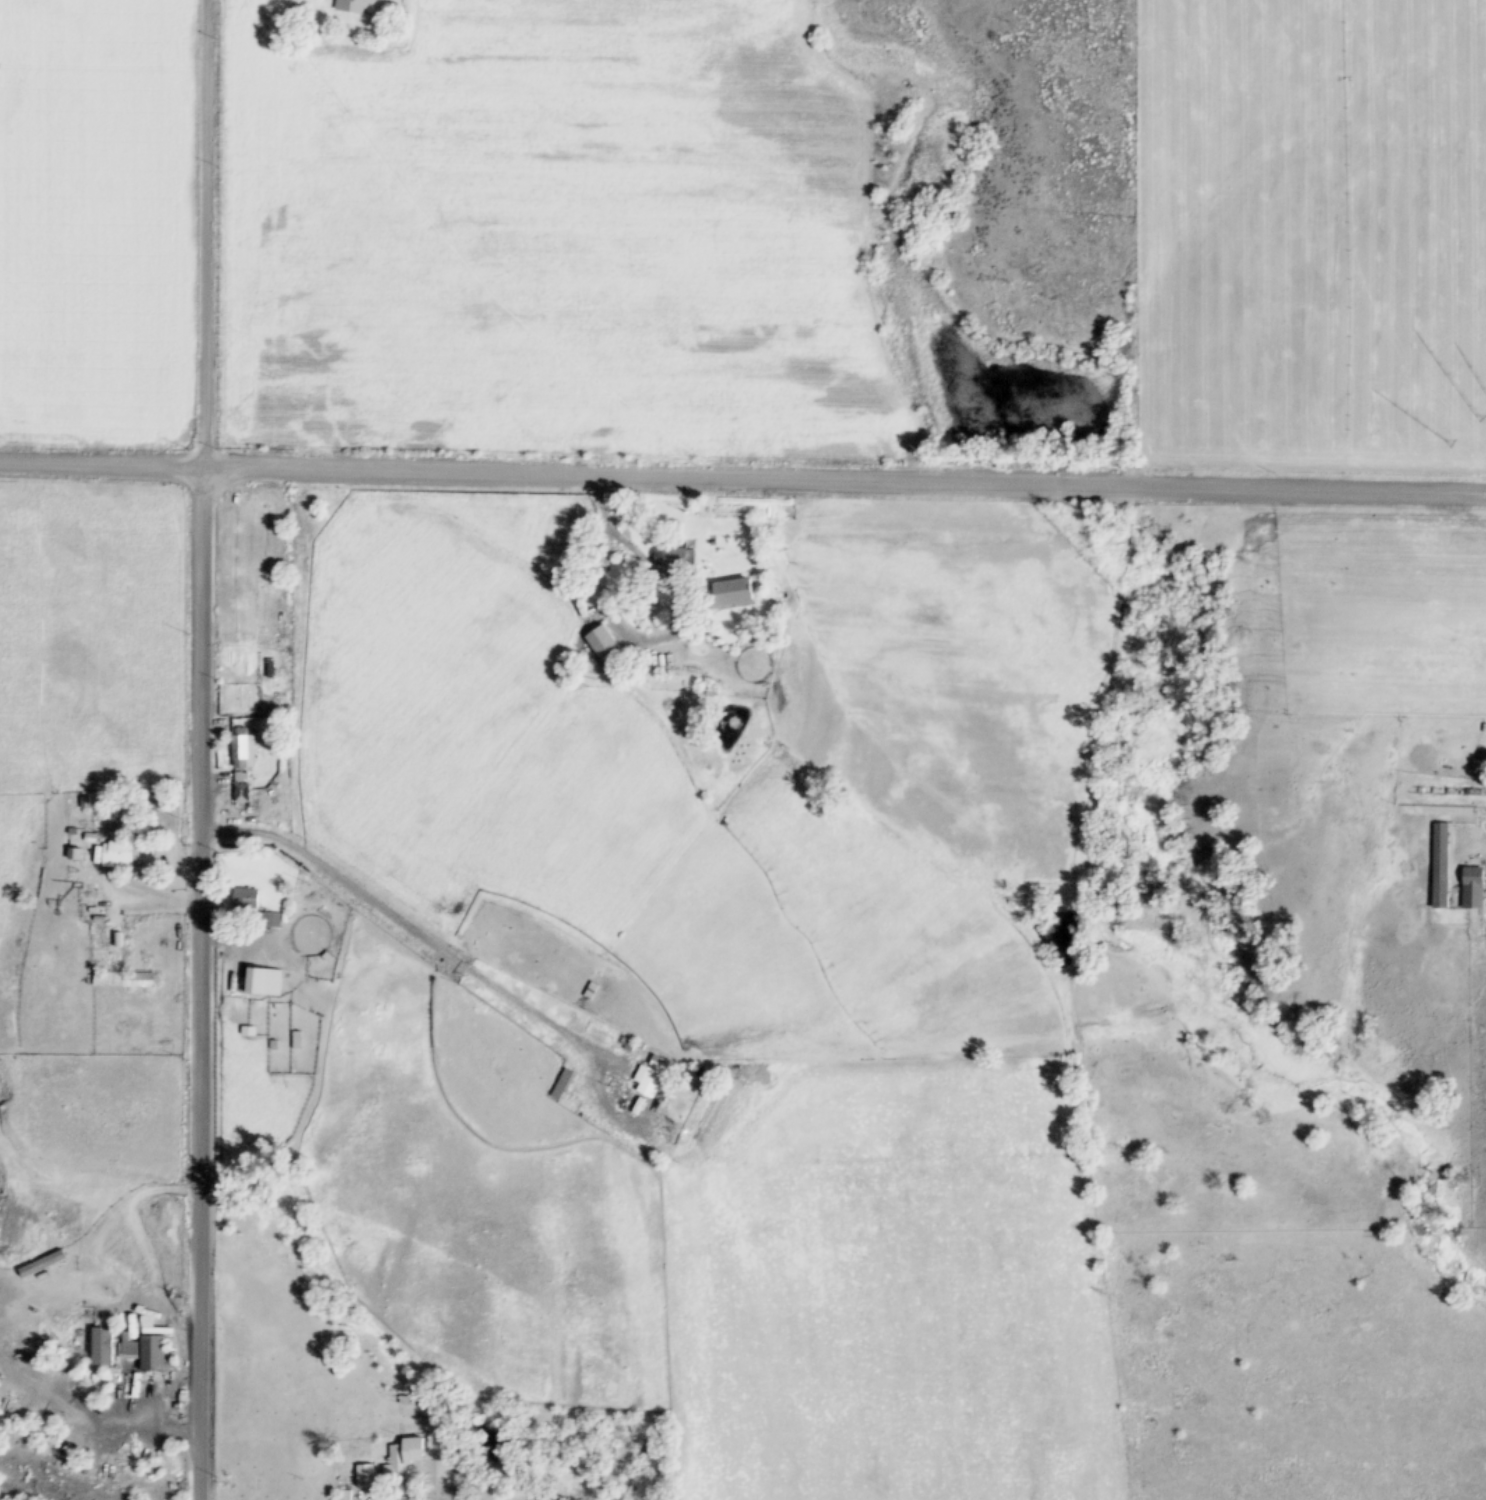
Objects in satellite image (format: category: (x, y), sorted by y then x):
building: (354, 6)
road: (743, 478)
building: (677, 556)
building: (734, 591)
building: (601, 642)
building: (256, 746)
road: (200, 750)
building: (239, 752)
building: (240, 792)
building: (158, 802)
building: (72, 831)
building: (91, 837)
road: (1480, 841)
building: (74, 854)
building: (119, 854)
building: (1439, 865)
building: (1471, 887)
road: (180, 904)
building: (252, 908)
road: (305, 910)
building: (98, 918)
road: (279, 953)
building: (326, 957)
road: (466, 968)
building: (123, 979)
building: (263, 980)
building: (591, 991)
building: (295, 1039)
building: (272, 1045)
building: (628, 1045)
building: (640, 1045)
building: (651, 1078)
road: (313, 1083)
building: (562, 1084)
road: (136, 1237)
road: (1174, 1240)
building: (102, 1345)
building: (127, 1345)
building: (152, 1352)
road: (26, 1377)
building: (181, 1398)
road: (155, 1413)
road: (124, 1420)
building: (414, 1450)
building: (395, 1453)
building: (365, 1476)
road: (1354, 1481)
building: (345, 1494)
road: (404, 1496)

